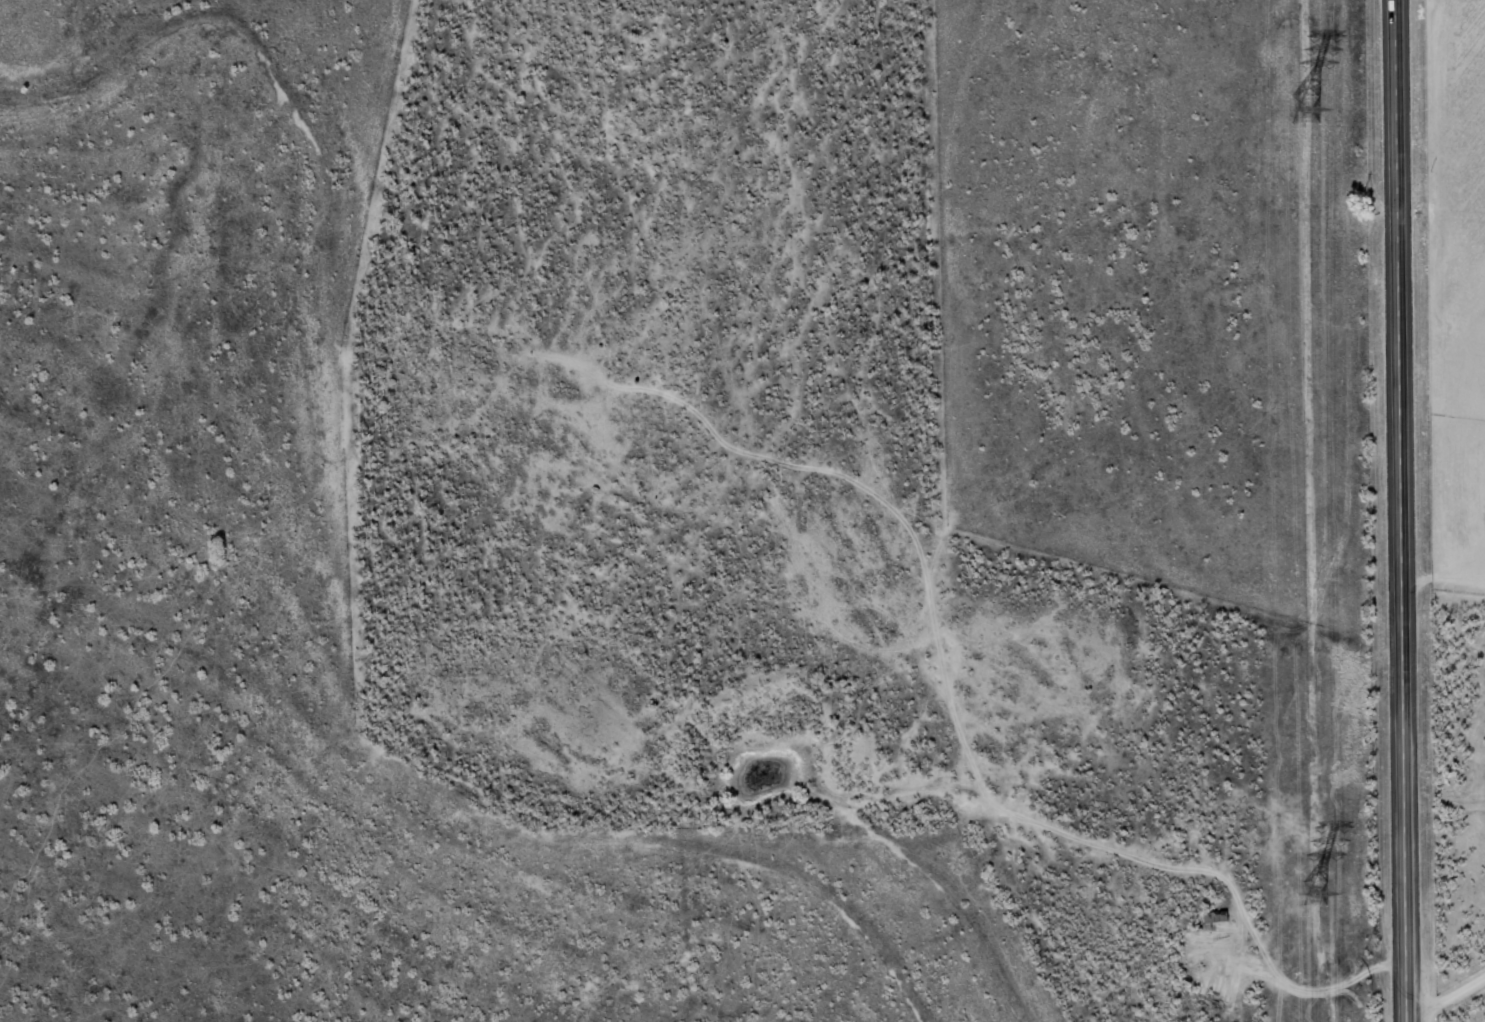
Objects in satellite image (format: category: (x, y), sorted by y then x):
power tower: (1303, 109)
road: (1405, 511)
power tower: (1312, 893)
road: (1473, 1014)

